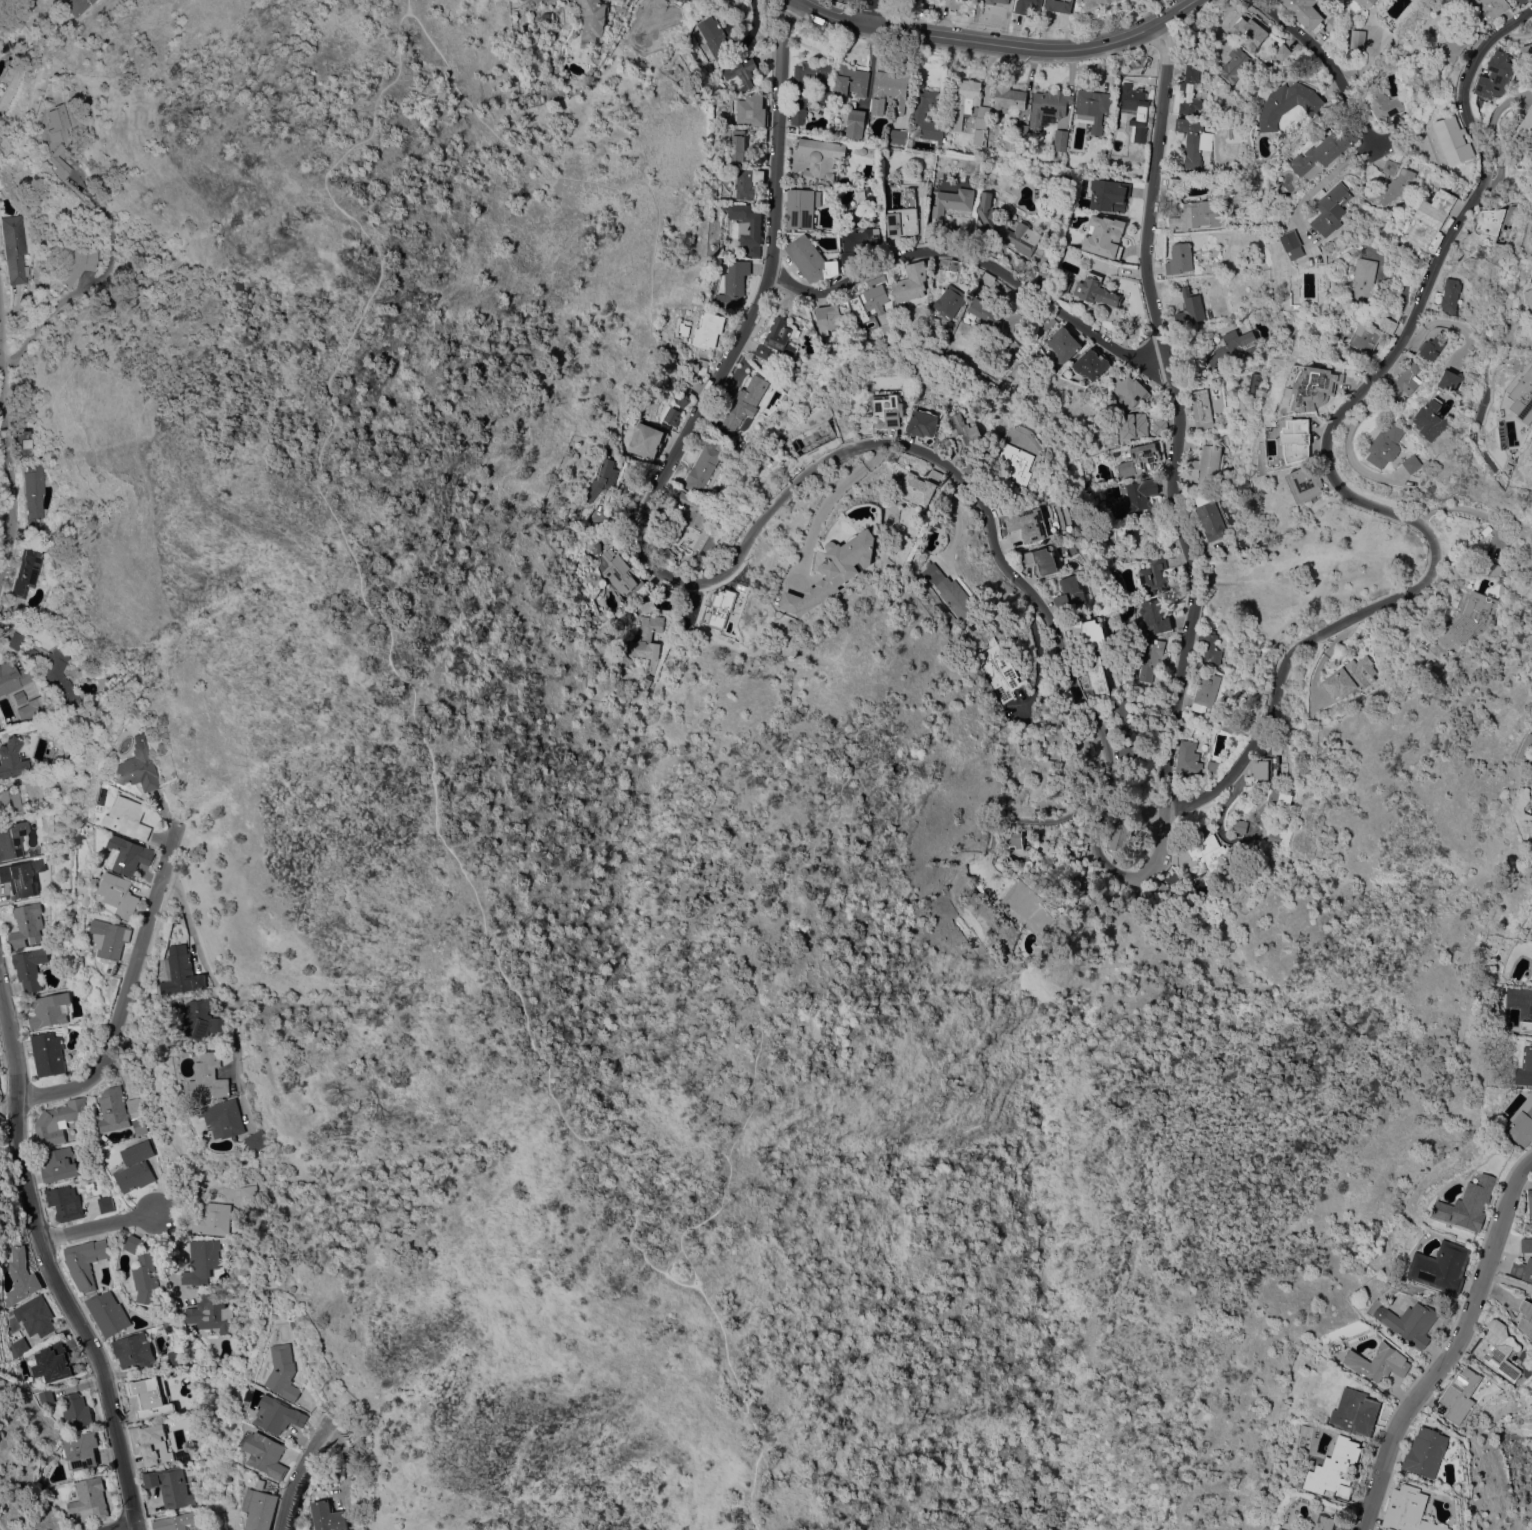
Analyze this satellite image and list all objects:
building: (685, 0)
building: (689, 0)
building: (1519, 1)
building: (1522, 1)
road: (2, 2)
building: (1003, 2)
building: (1366, 3)
building: (1095, 4)
building: (1027, 5)
building: (1059, 5)
building: (76, 6)
road: (407, 6)
building: (1488, 8)
building: (1303, 12)
road: (866, 13)
road: (1189, 13)
building: (1336, 19)
building: (592, 20)
building: (1245, 31)
road: (1142, 37)
building: (716, 40)
road: (949, 40)
building: (1357, 40)
building: (1456, 43)
building: (4, 45)
building: (1198, 49)
building: (1527, 50)
building: (1280, 52)
road: (1170, 62)
road: (1319, 63)
building: (1236, 64)
building: (742, 71)
building: (815, 76)
building: (1495, 76)
building: (851, 81)
building: (890, 91)
building: (1189, 91)
building: (1009, 99)
building: (965, 102)
building: (1287, 103)
building: (1381, 104)
building: (1048, 106)
building: (798, 108)
building: (1092, 108)
building: (752, 110)
building: (731, 111)
building: (1136, 111)
building: (917, 115)
building: (1398, 121)
building: (981, 123)
building: (856, 124)
building: (1524, 129)
building: (1020, 130)
building: (760, 134)
road: (1492, 135)
building: (896, 136)
building: (57, 138)
building: (1060, 140)
building: (1452, 141)
building: (1194, 142)
road: (781, 145)
building: (741, 148)
building: (1324, 150)
building: (865, 153)
building: (799, 158)
building: (823, 159)
building: (1390, 166)
building: (747, 182)
building: (1174, 183)
building: (1391, 187)
building: (925, 188)
building: (860, 194)
building: (1108, 194)
building: (950, 199)
building: (1330, 207)
building: (802, 208)
building: (1198, 215)
building: (904, 216)
building: (1430, 220)
building: (1490, 221)
building: (1004, 226)
building: (747, 227)
building: (1103, 236)
building: (1290, 239)
building: (860, 240)
building: (15, 248)
building: (1531, 248)
building: (724, 252)
building: (848, 258)
building: (1180, 258)
building: (810, 259)
building: (82, 260)
road: (967, 263)
building: (955, 265)
building: (1317, 278)
building: (1366, 281)
building: (911, 282)
building: (734, 283)
building: (1062, 284)
building: (1095, 290)
building: (1448, 295)
building: (1529, 297)
building: (951, 299)
building: (869, 305)
building: (1190, 308)
building: (985, 312)
building: (828, 318)
road: (1447, 323)
building: (1388, 325)
building: (683, 329)
building: (708, 330)
building: (781, 335)
building: (1364, 338)
building: (1063, 344)
building: (1233, 348)
building: (1431, 348)
building: (763, 351)
building: (1091, 363)
building: (700, 366)
building: (1406, 380)
building: (1450, 380)
building: (1255, 383)
building: (1314, 387)
building: (1130, 391)
building: (1520, 392)
building: (683, 400)
building: (745, 402)
building: (888, 410)
building: (1201, 410)
building: (672, 416)
building: (1431, 419)
building: (966, 422)
building: (923, 423)
building: (1134, 425)
building: (1159, 426)
road: (684, 433)
building: (1296, 439)
building: (646, 440)
road: (1348, 442)
building: (23, 443)
building: (1385, 445)
road: (1174, 453)
building: (1141, 459)
building: (1512, 460)
building: (1017, 462)
building: (705, 463)
building: (1412, 463)
building: (1206, 465)
road: (1327, 466)
building: (1509, 466)
road: (6, 469)
building: (601, 481)
building: (1305, 482)
building: (1241, 486)
building: (919, 487)
road: (835, 493)
building: (36, 497)
building: (1134, 498)
building: (664, 501)
building: (620, 508)
road: (1469, 510)
road: (959, 513)
building: (689, 515)
building: (1210, 520)
building: (1032, 523)
road: (339, 525)
building: (1164, 544)
building: (597, 548)
building: (666, 555)
road: (997, 555)
building: (1041, 560)
building: (1490, 568)
building: (835, 569)
building: (1279, 569)
building: (28, 572)
building: (617, 572)
building: (1153, 578)
building: (1070, 592)
building: (952, 594)
building: (720, 607)
building: (1474, 615)
building: (1154, 617)
building: (1278, 622)
building: (1087, 630)
building: (646, 637)
building: (1443, 640)
building: (16, 641)
building: (1212, 649)
building: (1150, 659)
road: (1325, 659)
building: (1000, 671)
building: (56, 675)
building: (1096, 676)
building: (13, 677)
building: (1350, 677)
building: (644, 682)
building: (1205, 693)
building: (19, 697)
building: (32, 708)
building: (1122, 716)
building: (1231, 721)
building: (1221, 728)
building: (1526, 747)
building: (1126, 754)
building: (12, 758)
building: (1188, 758)
building: (138, 766)
building: (1213, 768)
building: (1261, 768)
building: (1284, 770)
building: (11, 803)
building: (1275, 803)
building: (128, 817)
road: (1037, 821)
building: (1241, 826)
building: (1122, 830)
building: (1274, 836)
building: (11, 838)
building: (1014, 840)
building: (1209, 852)
building: (33, 853)
building: (129, 855)
building: (99, 871)
building: (20, 880)
building: (1018, 886)
building: (980, 887)
building: (43, 892)
building: (120, 895)
building: (27, 926)
building: (111, 938)
building: (29, 967)
building: (183, 971)
road: (758, 972)
road: (128, 991)
road: (218, 992)
road: (0, 994)
building: (49, 1010)
building: (201, 1020)
building: (1527, 1021)
building: (47, 1054)
building: (1525, 1068)
building: (209, 1077)
building: (120, 1112)
building: (1, 1118)
building: (224, 1118)
building: (57, 1122)
building: (1522, 1123)
building: (257, 1140)
road: (669, 1147)
building: (58, 1165)
building: (135, 1167)
building: (247, 1193)
building: (1530, 1202)
building: (64, 1203)
building: (105, 1204)
building: (1470, 1204)
building: (212, 1219)
road: (100, 1228)
building: (133, 1244)
building: (1526, 1245)
road: (670, 1259)
building: (201, 1261)
building: (85, 1262)
road: (49, 1264)
road: (692, 1266)
building: (1441, 1267)
building: (1523, 1269)
building: (20, 1277)
building: (145, 1280)
building: (210, 1312)
building: (107, 1313)
building: (35, 1316)
building: (1526, 1317)
building: (1410, 1322)
building: (18, 1347)
road: (1452, 1347)
building: (1498, 1349)
building: (134, 1350)
building: (175, 1360)
building: (53, 1362)
building: (1379, 1362)
building: (282, 1372)
building: (1466, 1394)
building: (45, 1397)
building: (150, 1399)
building: (76, 1411)
building: (1355, 1411)
building: (277, 1415)
building: (154, 1444)
building: (80, 1448)
road: (1049, 1451)
building: (1426, 1452)
building: (267, 1454)
building: (1336, 1469)
road: (303, 1472)
building: (170, 1486)
building: (91, 1497)
building: (261, 1504)
building: (1408, 1510)
building: (328, 1516)
building: (1322, 1521)
building: (171, 1523)
building: (1296, 1528)
road: (133, 1529)
building: (1281, 1529)

